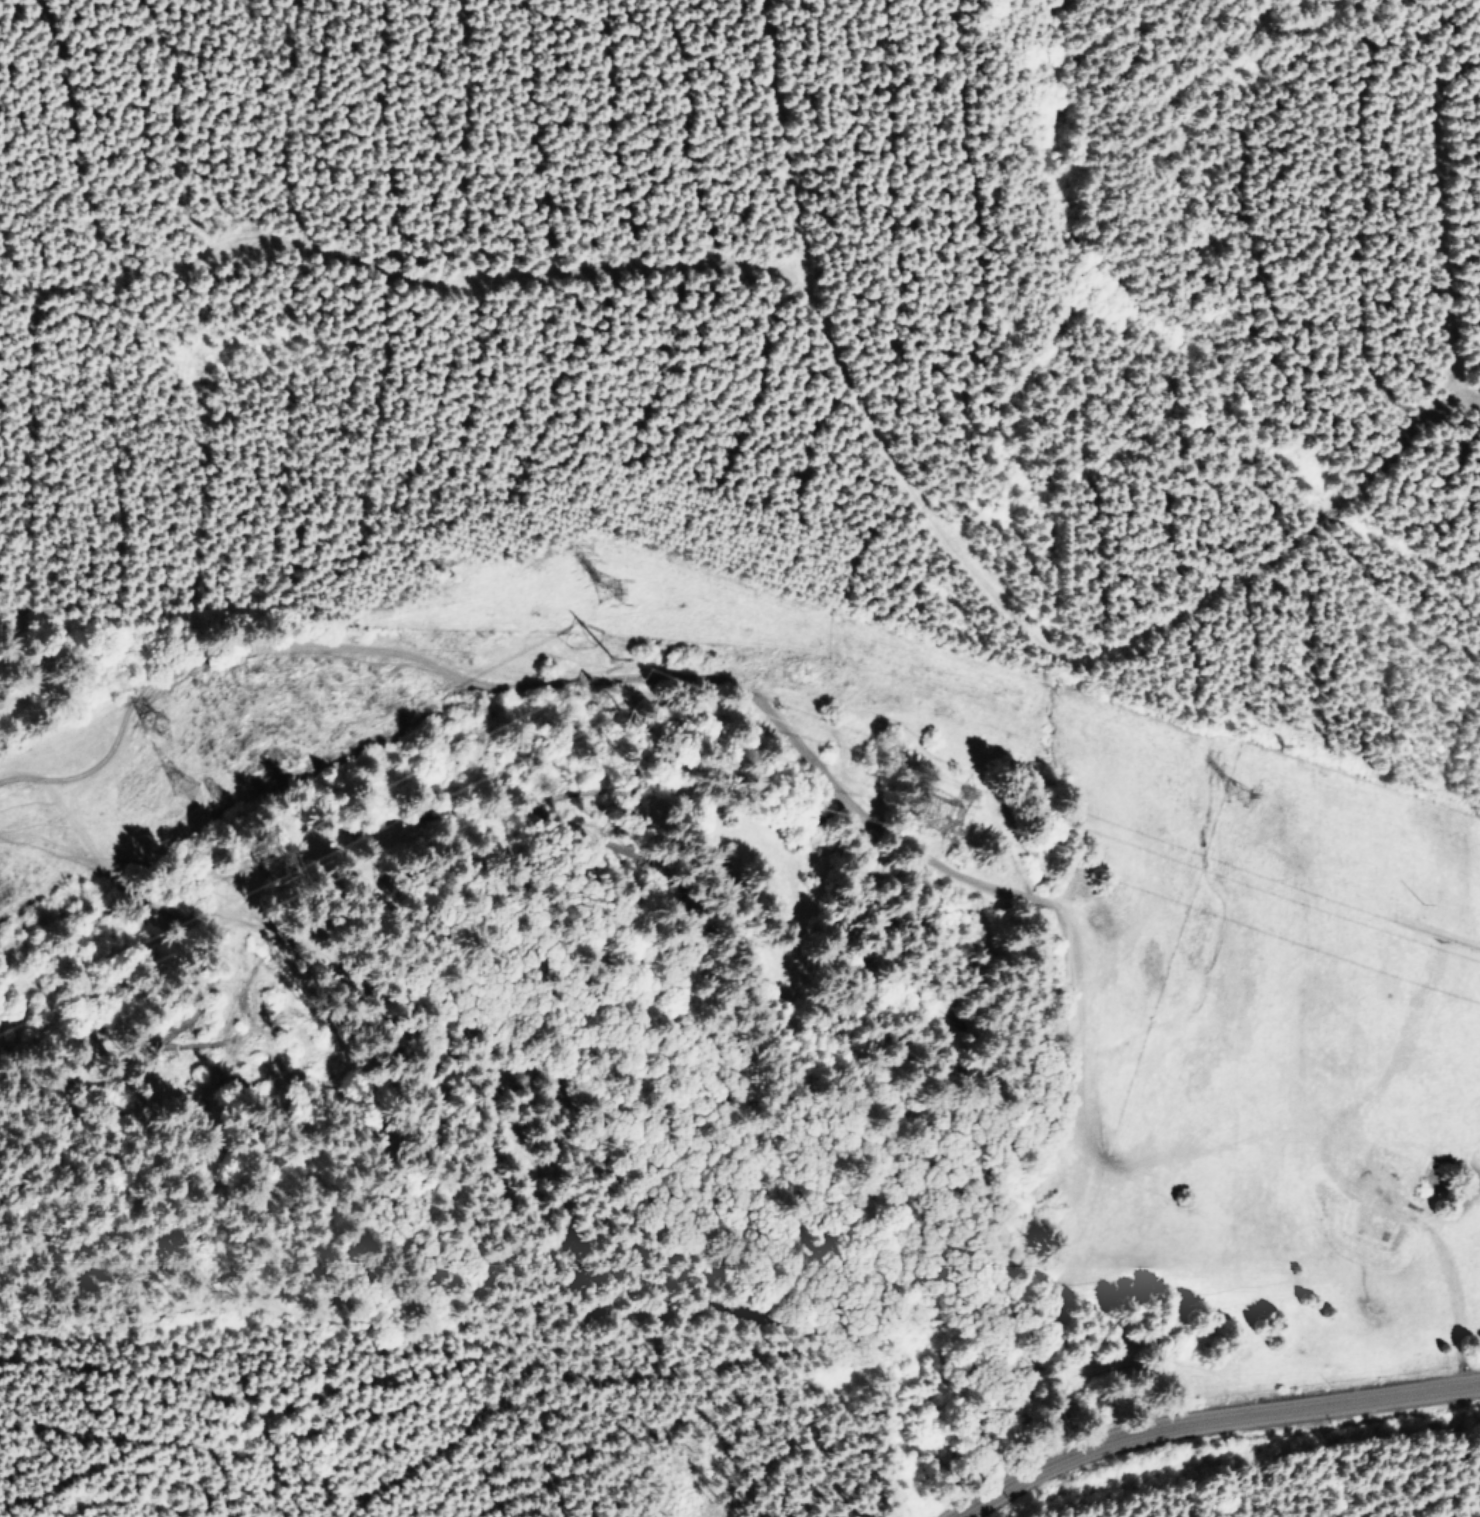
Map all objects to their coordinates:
power tower: (613, 601)
power tower: (625, 727)
power tower: (160, 731)
road: (785, 747)
power tower: (189, 791)
power tower: (1243, 792)
power tower: (937, 820)
power tower: (283, 874)
road: (1345, 1169)
road: (1208, 1422)

